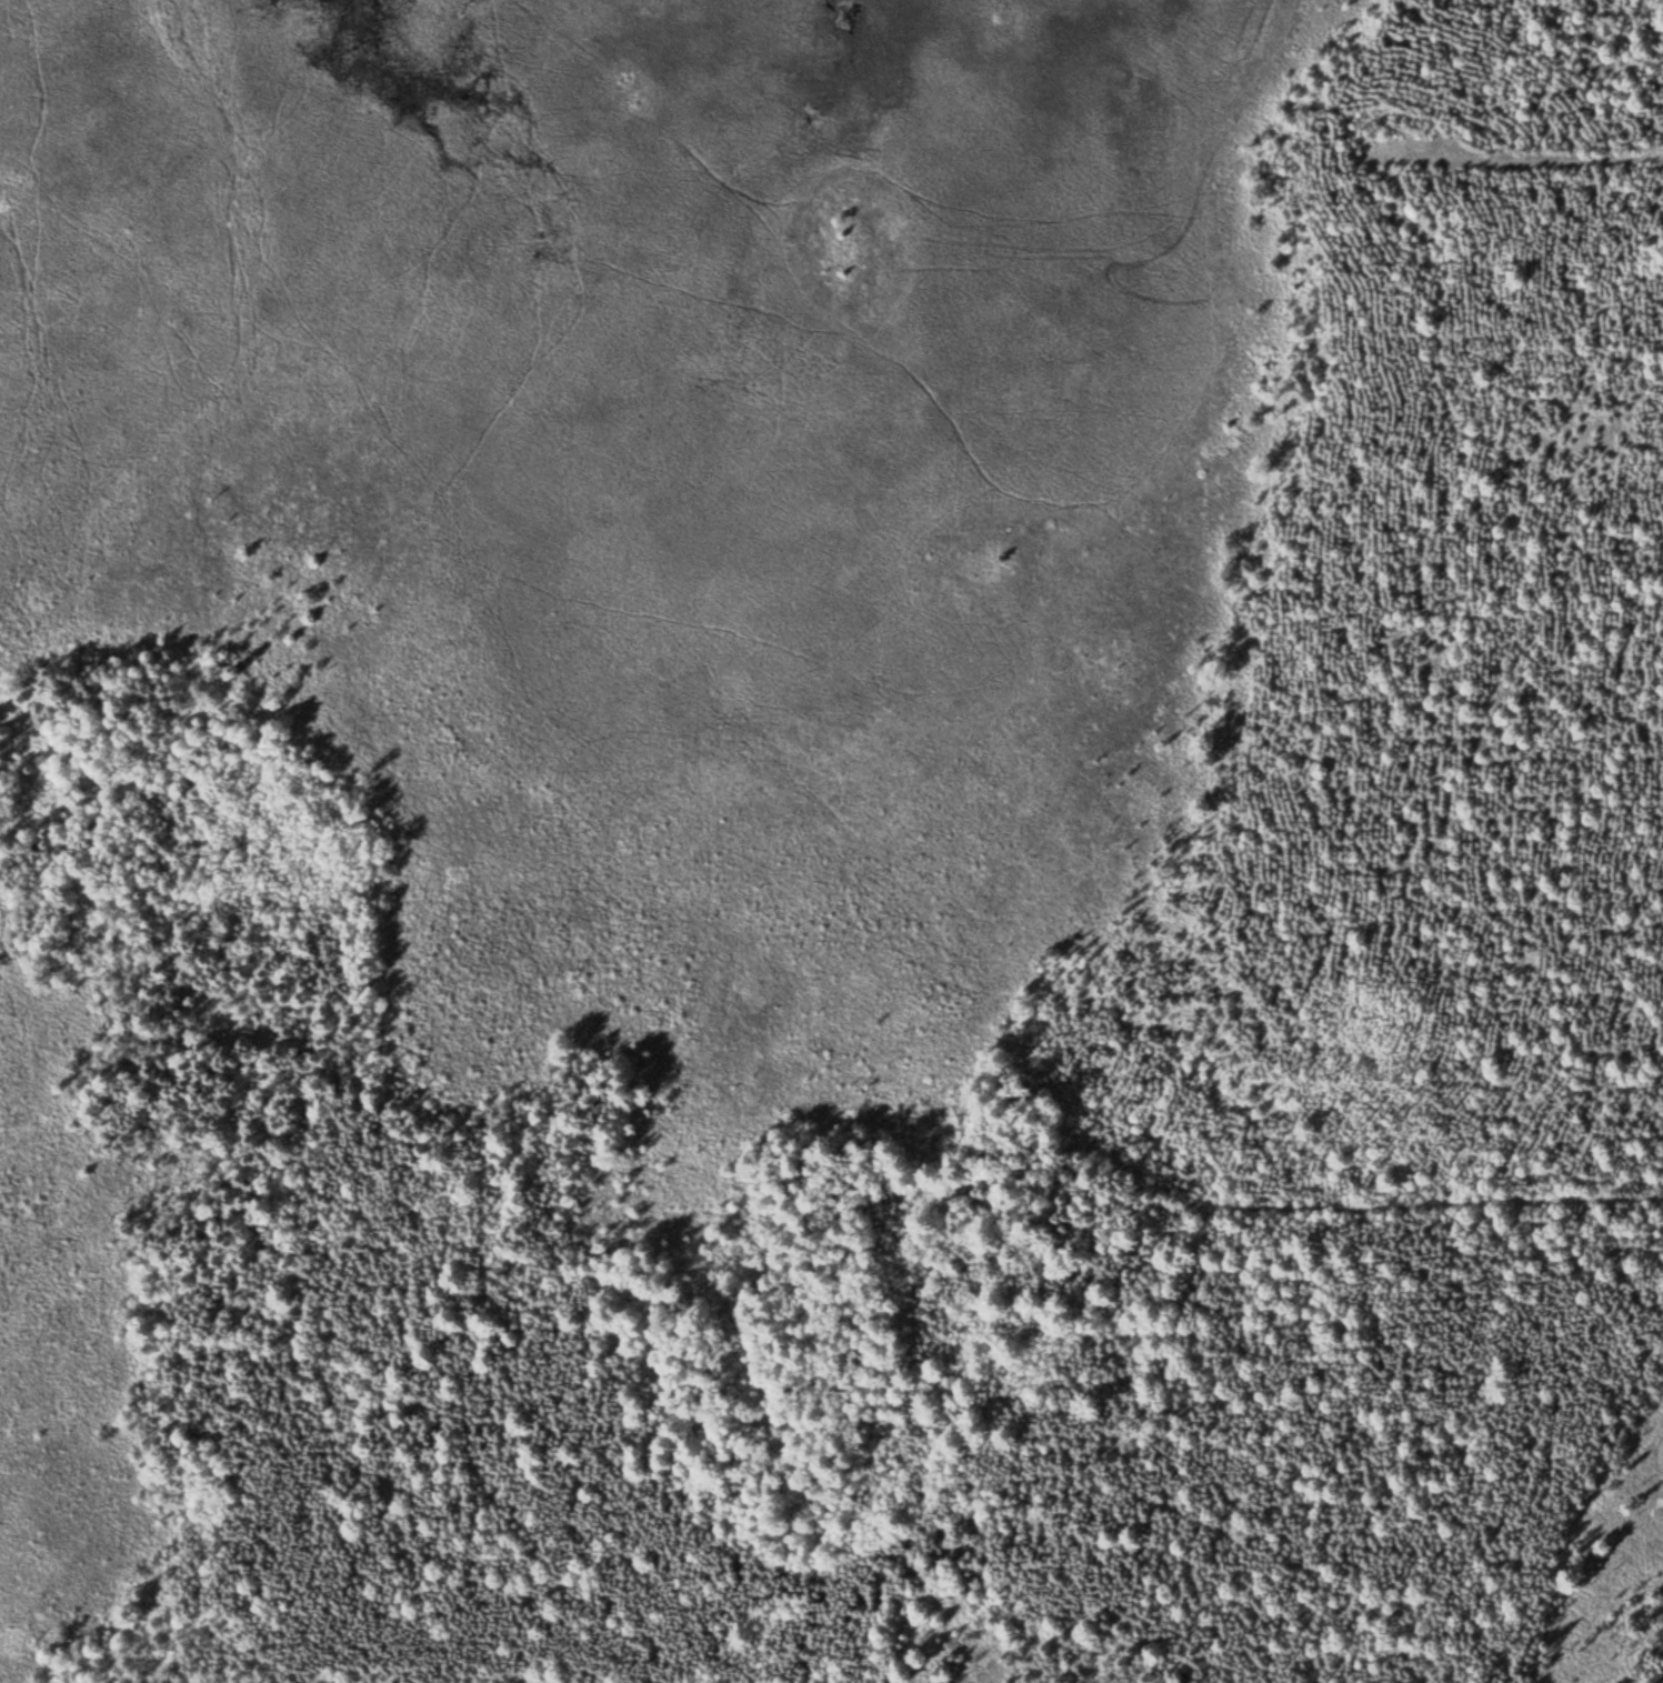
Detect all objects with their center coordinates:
road: (1522, 156)
road: (1425, 1209)

